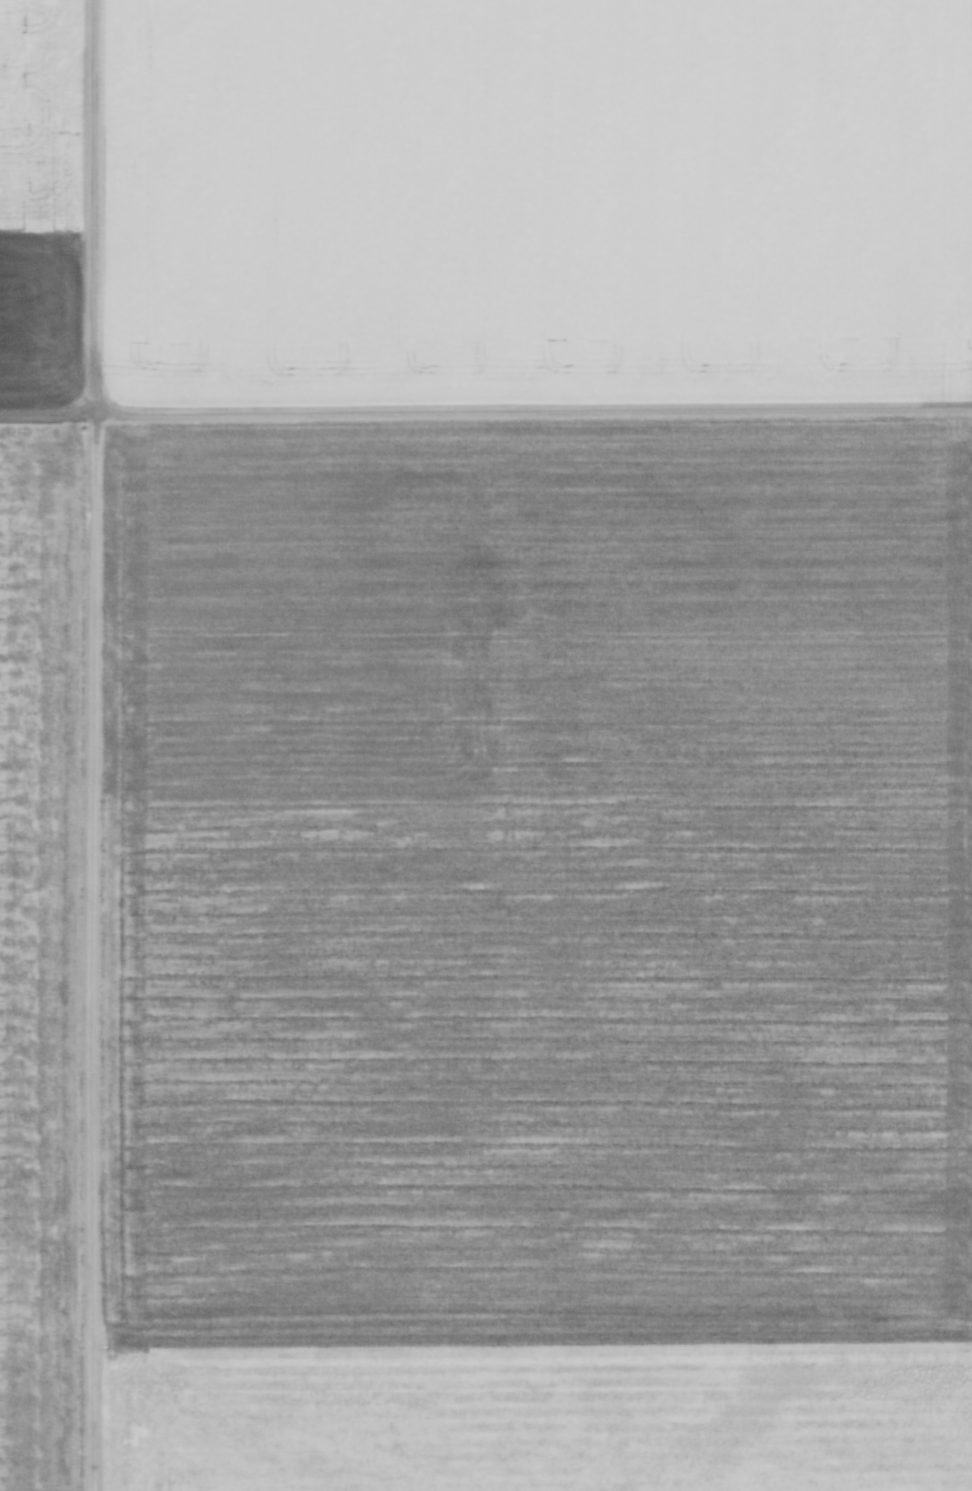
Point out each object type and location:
road: (486, 413)
road: (98, 745)

